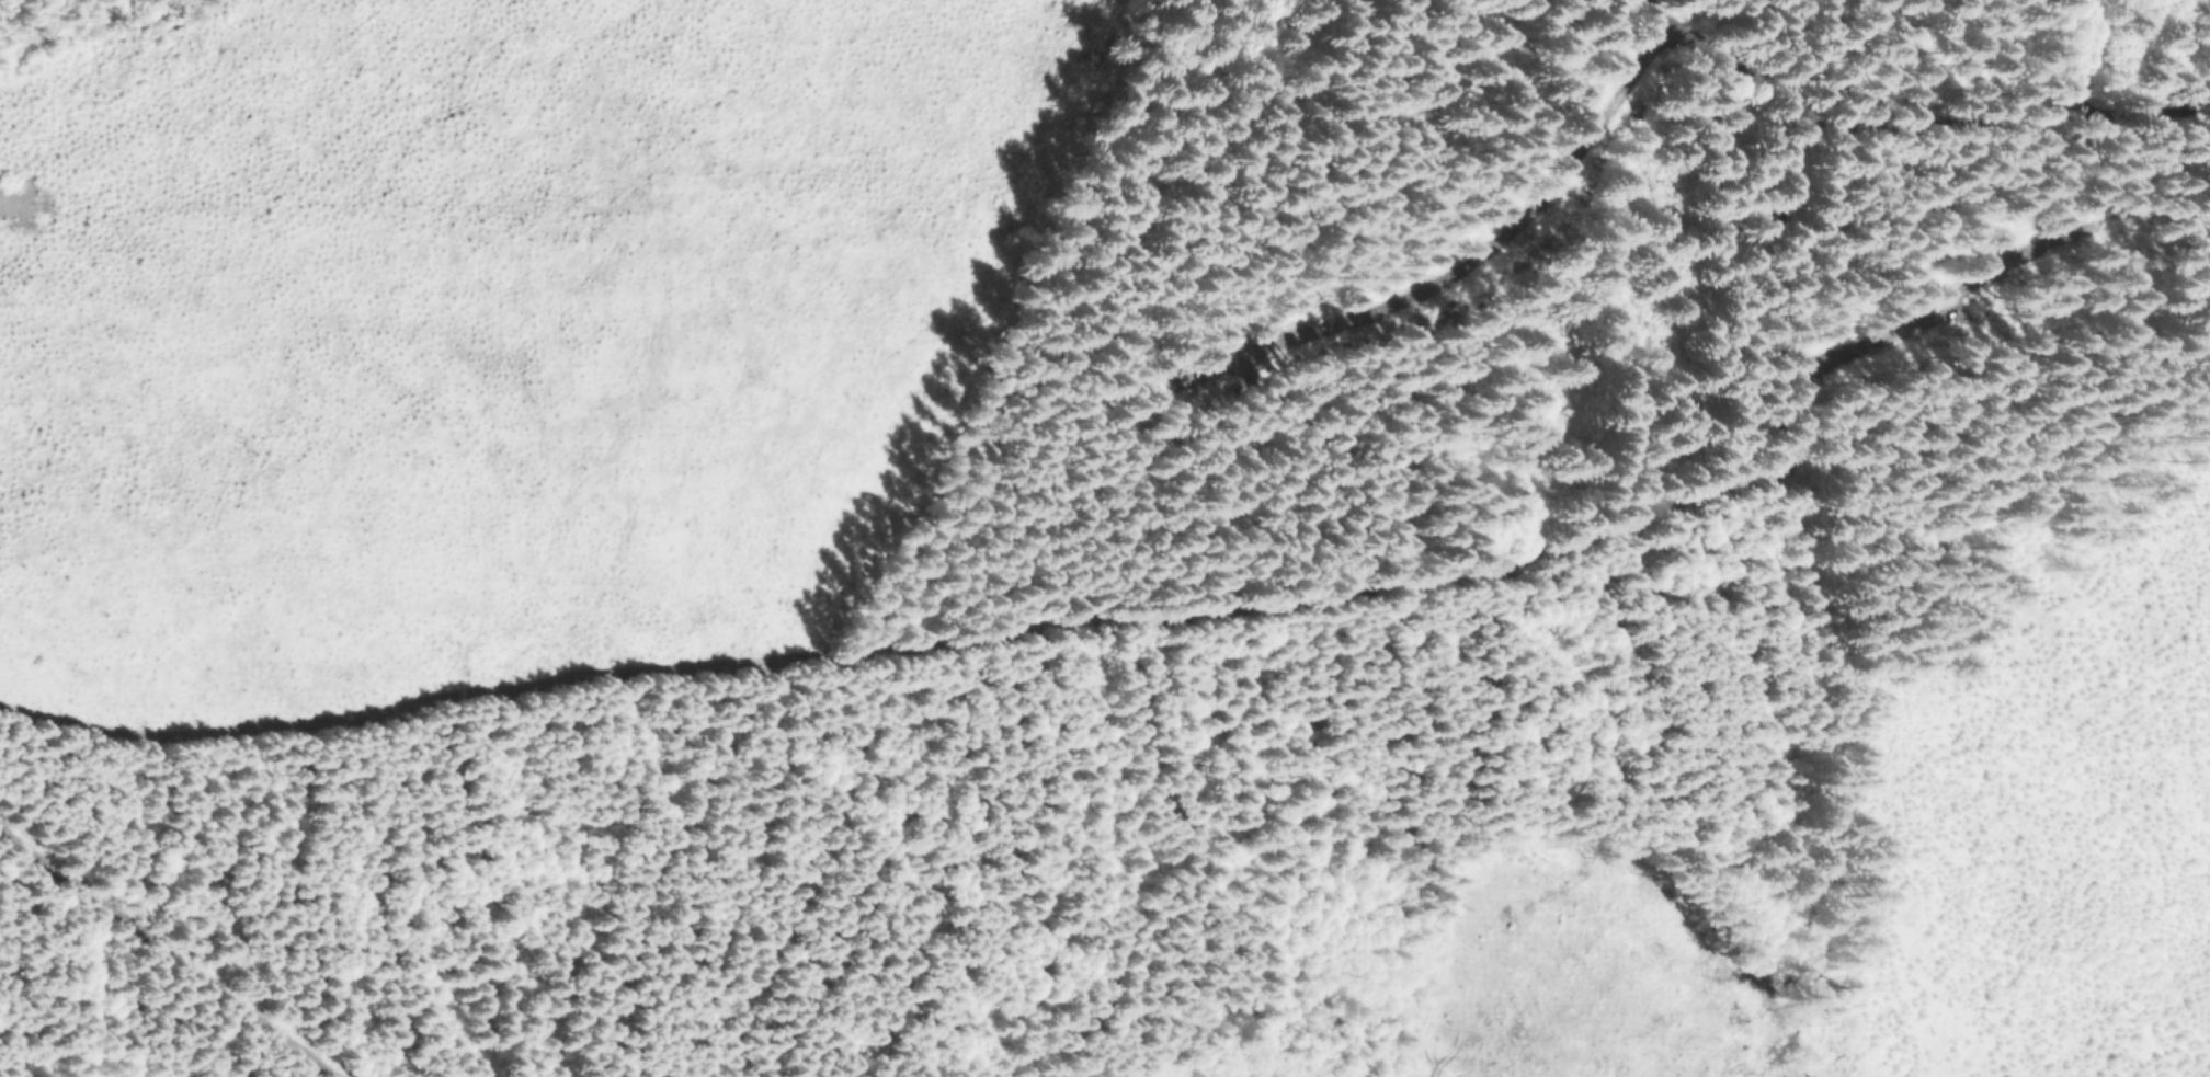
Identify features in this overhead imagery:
road: (1744, 70)
road: (2099, 70)
road: (1244, 605)
road: (164, 955)

